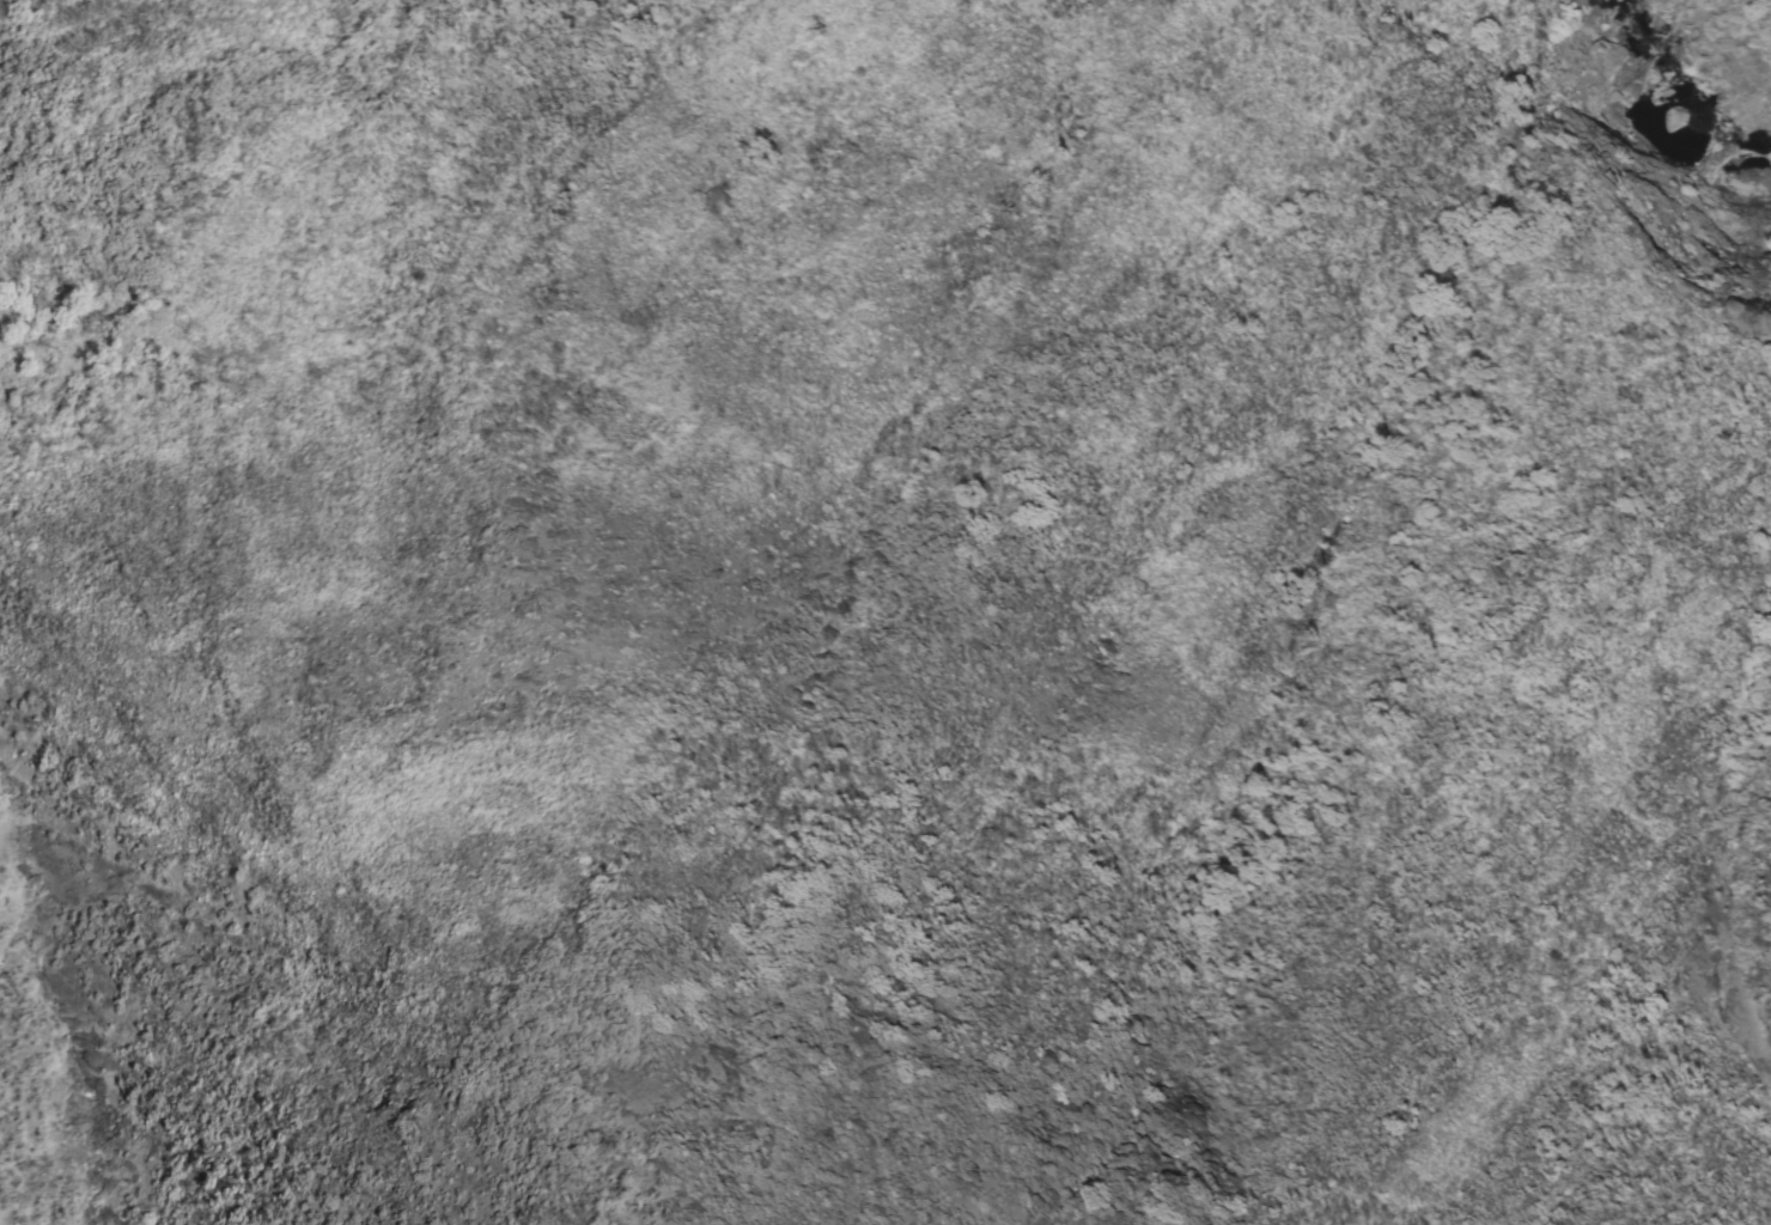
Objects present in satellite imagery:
river: (1661, 109)

